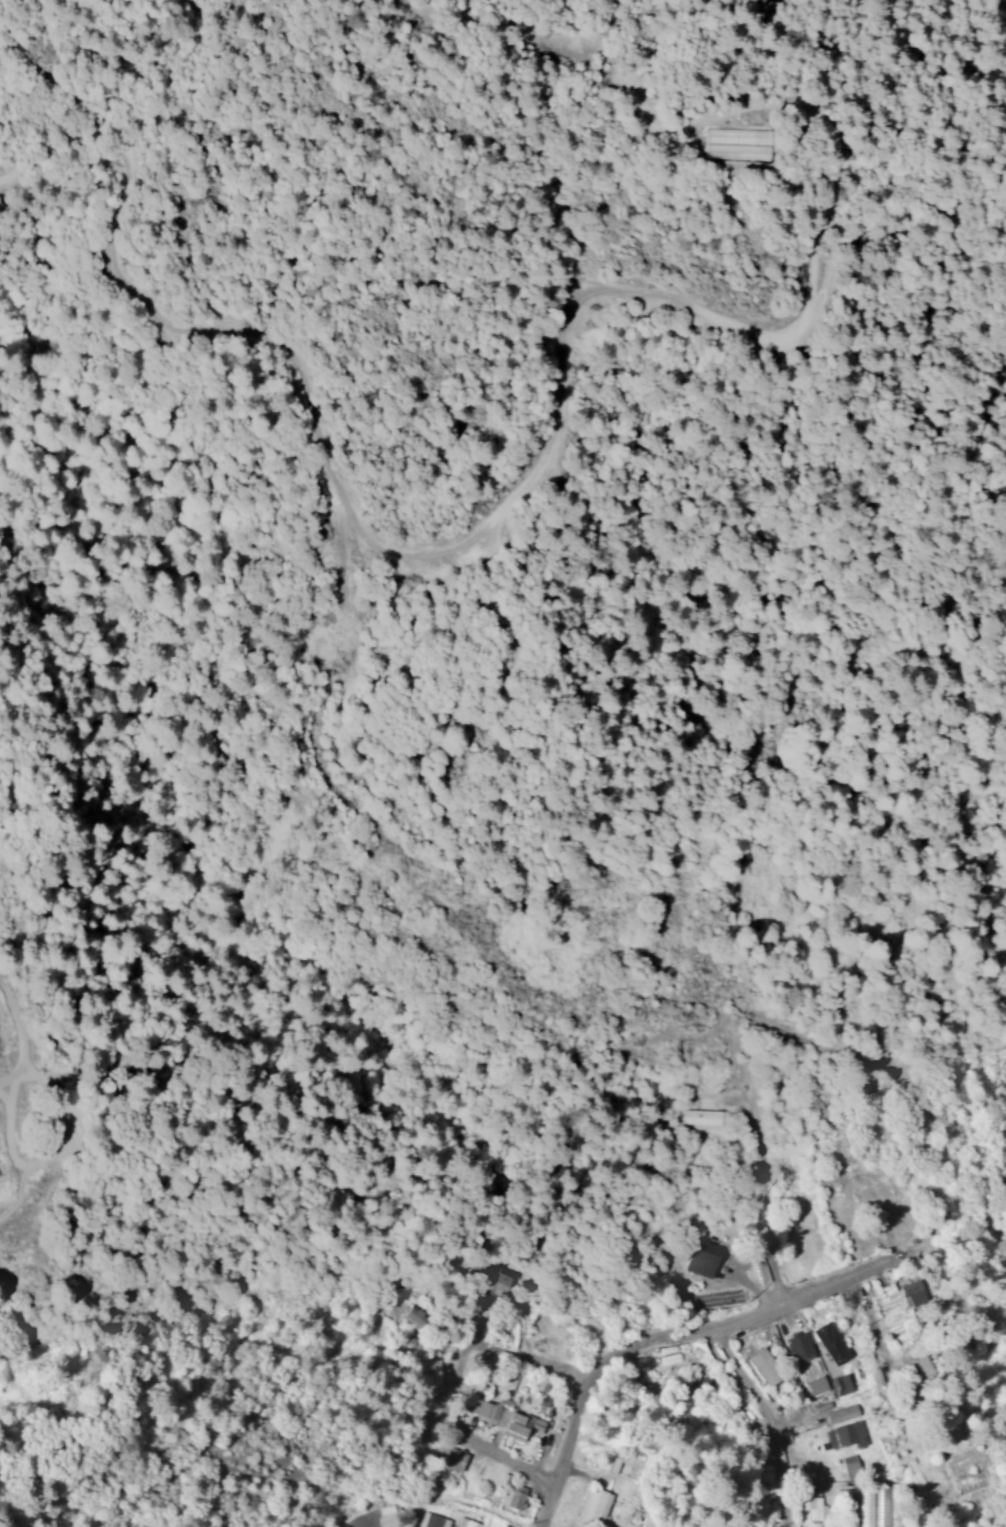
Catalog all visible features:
building: (702, 1115)
road: (767, 1208)
building: (701, 1255)
building: (497, 1277)
building: (910, 1292)
building: (413, 1316)
road: (737, 1323)
building: (828, 1342)
building: (797, 1347)
road: (517, 1360)
building: (762, 1366)
building: (437, 1374)
building: (540, 1383)
building: (838, 1384)
building: (814, 1385)
building: (839, 1413)
building: (501, 1418)
building: (844, 1434)
road: (569, 1448)
building: (451, 1457)
building: (606, 1462)
road: (516, 1465)
building: (848, 1466)
road: (628, 1481)
building: (512, 1495)
building: (589, 1507)
road: (662, 1507)
building: (815, 1508)
building: (872, 1509)
building: (431, 1520)
building: (465, 1522)

